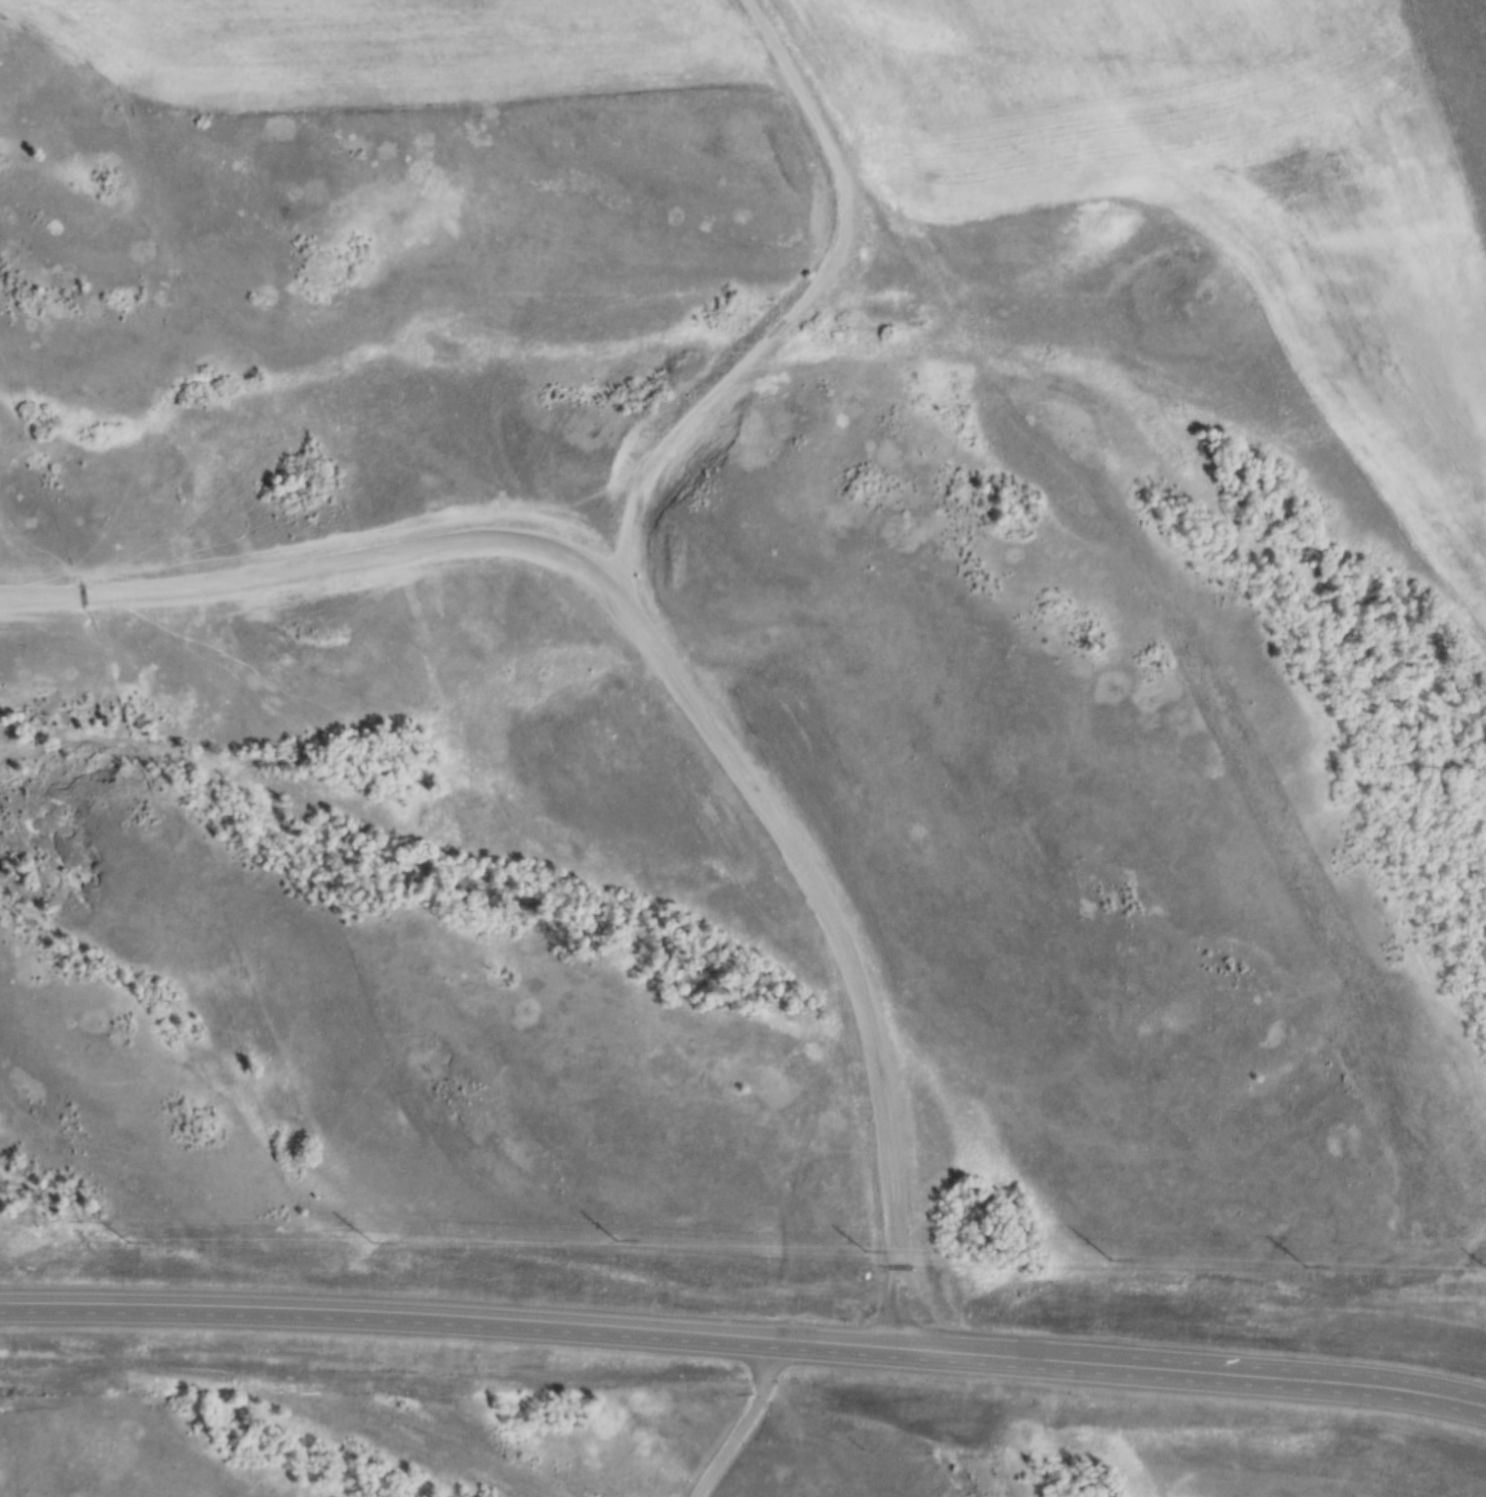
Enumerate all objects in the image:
road: (799, 310)
road: (672, 666)
road: (744, 1342)
road: (744, 1425)
road: (455, 1456)

